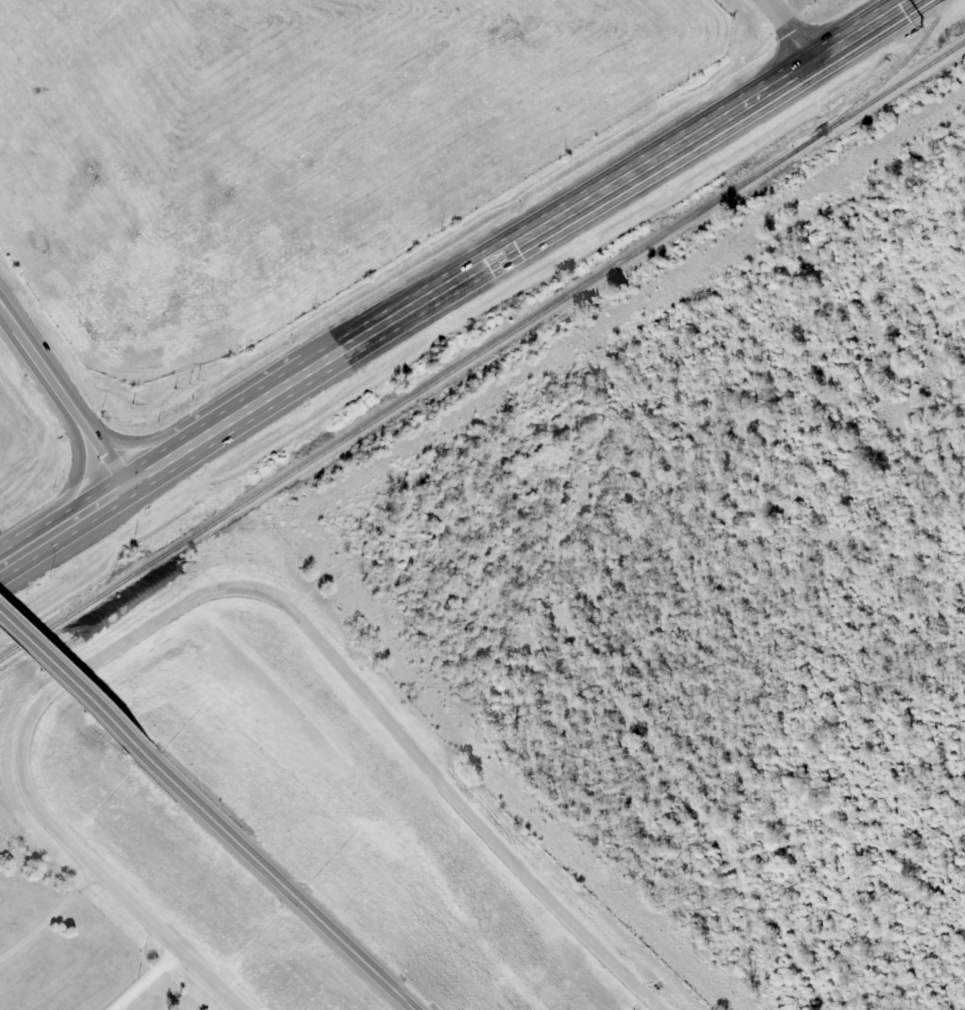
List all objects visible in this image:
road: (783, 32)
railway: (880, 71)
road: (517, 240)
road: (28, 345)
railway: (482, 353)
road: (91, 433)
road: (121, 434)
road: (76, 461)
road: (84, 506)
road: (21, 545)
road: (225, 589)
road: (66, 683)
road: (273, 878)

